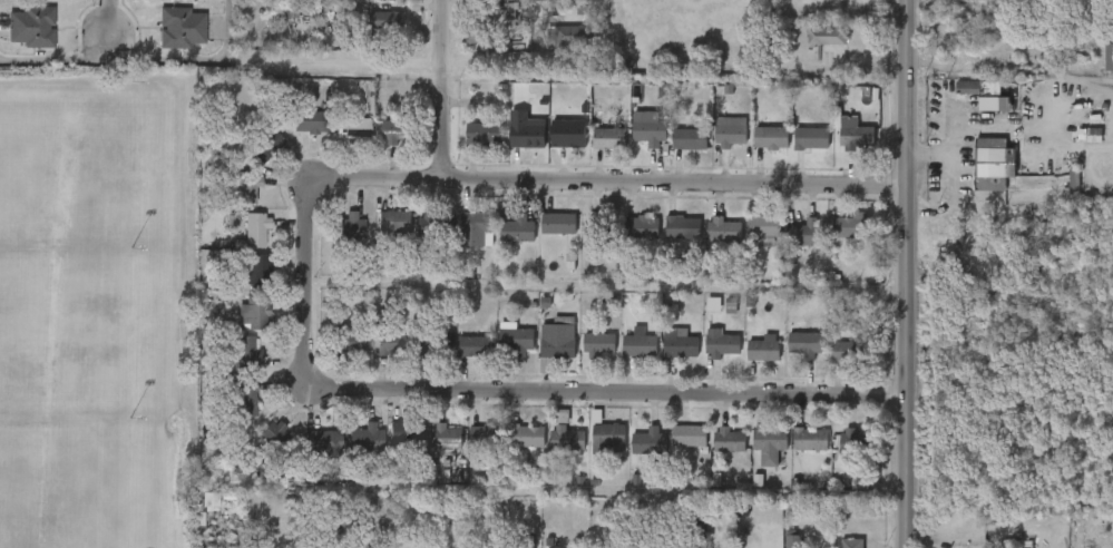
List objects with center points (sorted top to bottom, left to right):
building: (389, 20)
building: (496, 22)
building: (30, 26)
building: (182, 26)
road: (108, 29)
building: (572, 36)
building: (827, 36)
building: (1109, 57)
road: (138, 59)
road: (341, 69)
road: (450, 89)
building: (986, 95)
building: (310, 121)
building: (353, 129)
building: (650, 129)
building: (565, 130)
building: (527, 131)
building: (399, 133)
building: (484, 134)
building: (731, 135)
building: (855, 135)
building: (772, 137)
building: (609, 138)
building: (811, 138)
building: (691, 139)
building: (265, 146)
road: (936, 153)
building: (988, 163)
park: (85, 164)
road: (612, 183)
building: (245, 189)
building: (477, 222)
building: (393, 223)
building: (433, 224)
building: (559, 224)
building: (851, 225)
building: (344, 226)
building: (599, 226)
building: (642, 226)
building: (764, 226)
building: (682, 227)
building: (518, 229)
building: (724, 229)
building: (255, 231)
building: (808, 233)
building: (257, 270)
road: (907, 273)
building: (713, 304)
park: (97, 307)
building: (252, 313)
park: (81, 331)
building: (558, 341)
building: (518, 342)
building: (349, 343)
building: (392, 343)
building: (806, 344)
building: (432, 345)
building: (599, 345)
building: (640, 345)
building: (681, 345)
building: (475, 346)
building: (723, 346)
building: (763, 349)
building: (847, 352)
building: (247, 354)
road: (508, 390)
building: (243, 400)
building: (271, 433)
building: (364, 437)
building: (485, 437)
building: (527, 437)
building: (607, 437)
building: (690, 437)
building: (448, 438)
building: (567, 438)
building: (729, 440)
building: (811, 440)
building: (648, 442)
building: (323, 443)
building: (771, 444)
building: (859, 444)
building: (399, 446)
park: (82, 489)
building: (792, 539)
building: (699, 542)
building: (851, 544)
building: (1027, 547)

